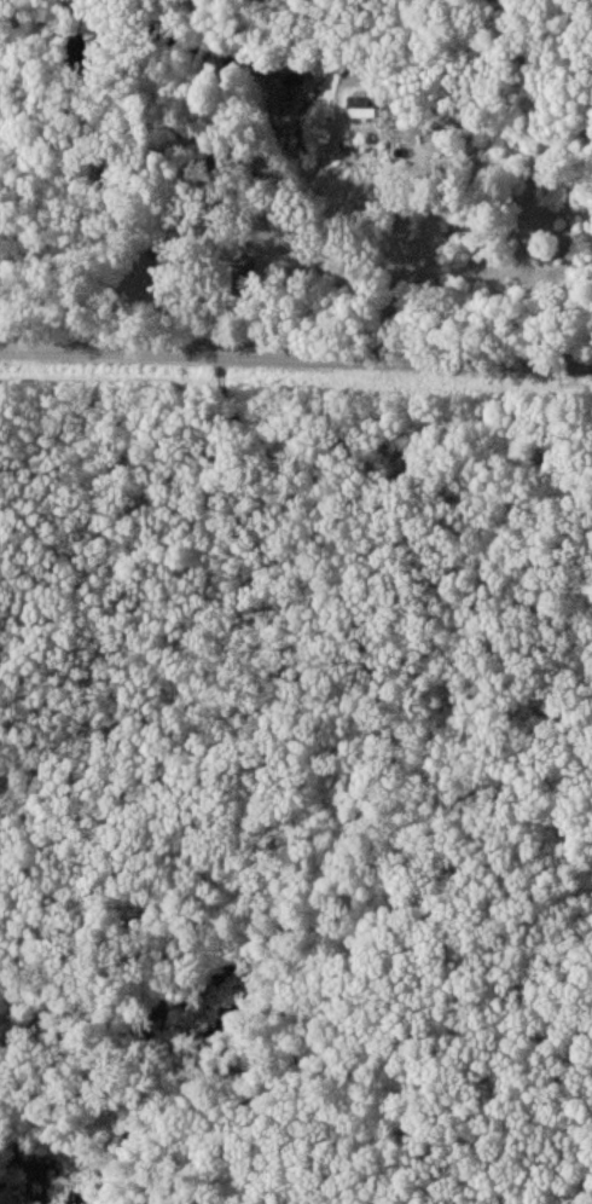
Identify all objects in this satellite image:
road: (365, 227)
road: (295, 360)

